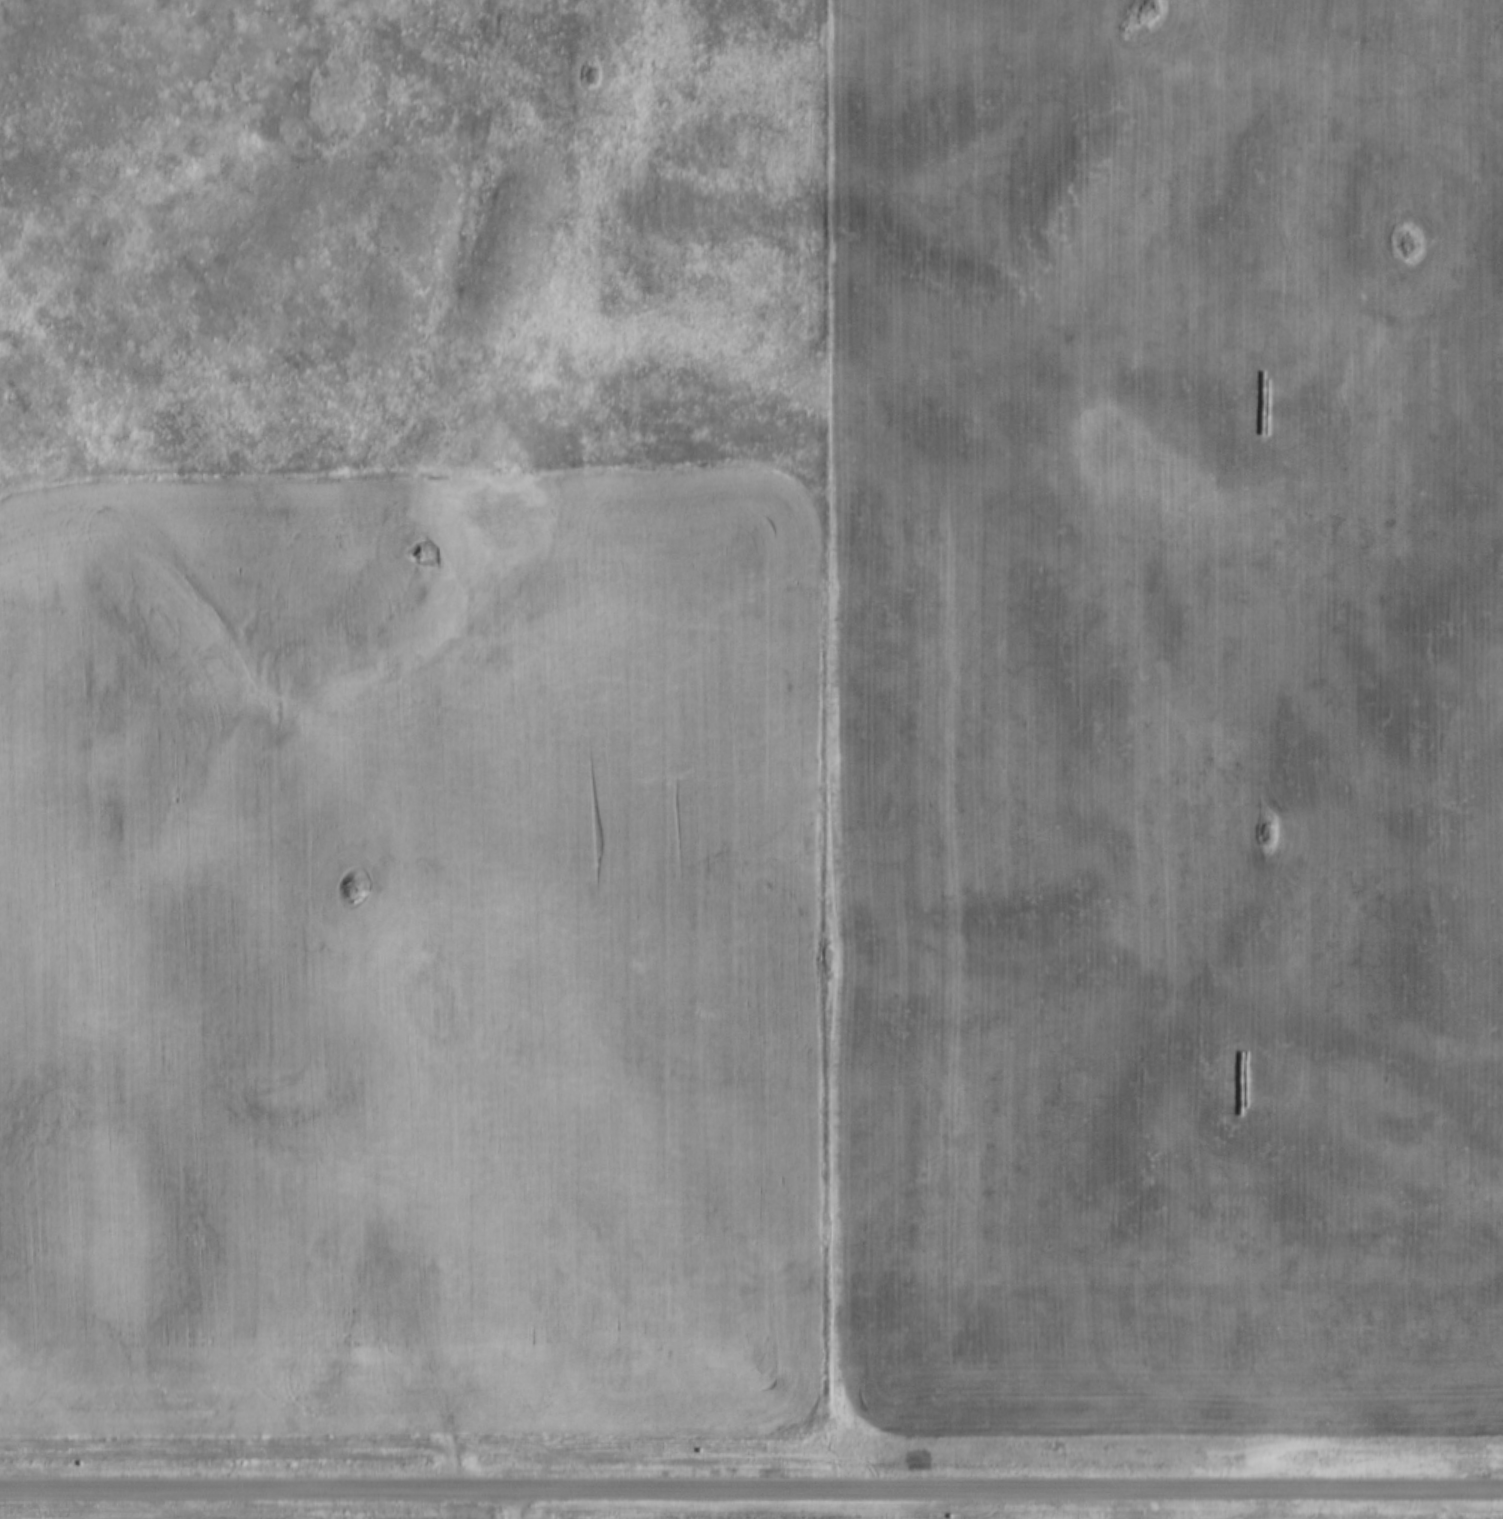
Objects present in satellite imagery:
road: (751, 1485)

